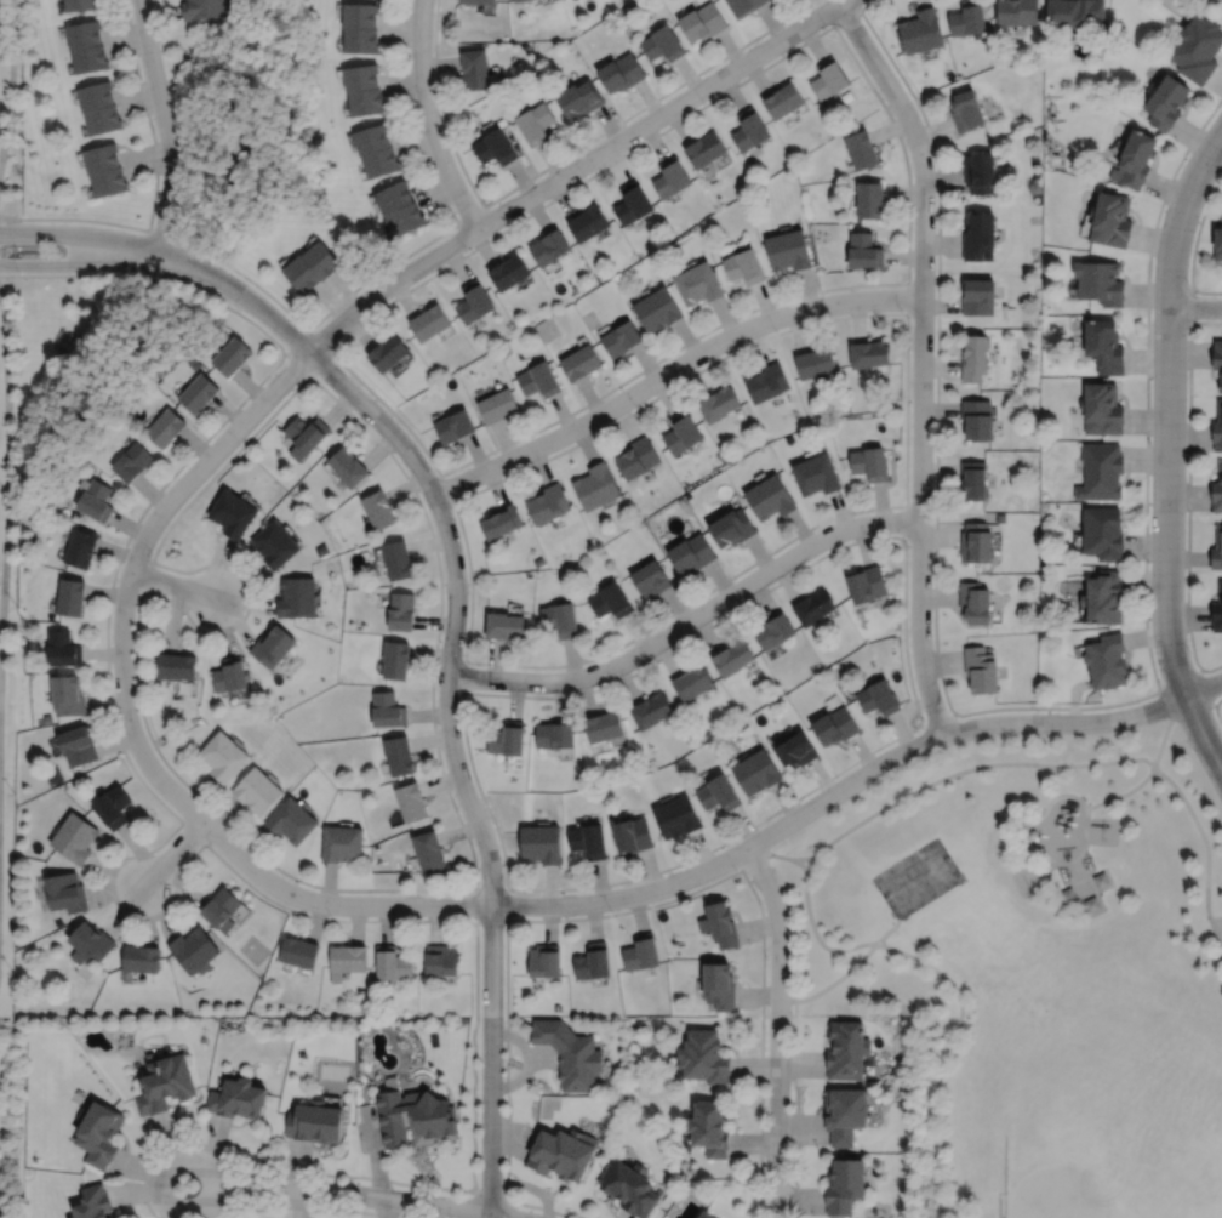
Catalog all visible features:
building: (519, 0)
street lamp: (410, 1)
building: (479, 1)
road: (1215, 2)
building: (82, 5)
building: (743, 6)
building: (202, 8)
building: (1017, 12)
building: (1075, 13)
building: (360, 16)
road: (845, 16)
building: (969, 19)
building: (702, 23)
street lamp: (824, 27)
building: (921, 32)
road: (161, 33)
building: (85, 36)
building: (361, 41)
building: (661, 46)
building: (1197, 50)
building: (92, 61)
building: (478, 70)
building: (622, 74)
building: (361, 79)
road: (11, 80)
building: (829, 80)
building: (97, 97)
building: (582, 97)
building: (783, 101)
street lamp: (703, 102)
street lamp: (884, 102)
building: (1169, 103)
street lamp: (1221, 103)
building: (366, 104)
building: (966, 109)
road: (428, 118)
street lamp: (441, 119)
building: (536, 119)
building: (105, 121)
road: (165, 126)
street lamp: (154, 127)
building: (749, 127)
building: (372, 136)
building: (496, 143)
building: (704, 146)
building: (862, 147)
building: (1137, 156)
building: (382, 158)
building: (103, 159)
road: (556, 160)
road: (571, 169)
building: (981, 170)
street lamp: (584, 176)
building: (670, 176)
building: (110, 183)
road: (154, 188)
road: (908, 188)
building: (394, 193)
building: (870, 198)
building: (634, 199)
building: (406, 215)
road: (470, 215)
building: (1113, 217)
building: (589, 220)
street lamp: (21, 222)
street lamp: (912, 222)
building: (980, 233)
road: (79, 234)
building: (1220, 241)
road: (1194, 243)
building: (550, 244)
street lamp: (467, 247)
building: (788, 247)
building: (864, 249)
building: (988, 255)
building: (321, 256)
road: (399, 258)
road: (78, 262)
building: (744, 263)
building: (510, 268)
street lamp: (130, 271)
building: (302, 271)
street lamp: (19, 272)
building: (1102, 280)
building: (698, 281)
street lamp: (1188, 284)
road: (238, 294)
building: (980, 295)
road: (908, 298)
building: (475, 300)
road: (1189, 302)
building: (658, 307)
road: (1195, 307)
street lamp: (240, 309)
street lamp: (901, 311)
building: (430, 320)
road: (308, 328)
street lamp: (776, 330)
building: (623, 336)
building: (67, 342)
street lamp: (335, 343)
building: (1107, 345)
building: (388, 349)
road: (285, 352)
road: (287, 352)
building: (869, 352)
building: (230, 353)
building: (1218, 355)
building: (975, 357)
road: (923, 359)
building: (582, 360)
building: (815, 360)
road: (670, 370)
building: (539, 377)
building: (767, 381)
building: (198, 391)
building: (718, 402)
building: (499, 404)
street lamp: (910, 404)
street lamp: (635, 405)
building: (1104, 408)
building: (978, 417)
building: (455, 425)
building: (165, 426)
building: (1218, 428)
building: (305, 431)
building: (683, 431)
street lamp: (1150, 439)
street lamp: (240, 444)
road: (1166, 451)
building: (639, 456)
building: (131, 460)
building: (870, 462)
building: (349, 465)
road: (7, 468)
building: (1102, 469)
street lamp: (508, 472)
building: (816, 473)
building: (975, 479)
building: (596, 484)
road: (446, 488)
road: (907, 488)
road: (1188, 491)
building: (1217, 493)
building: (770, 496)
building: (96, 499)
building: (549, 502)
building: (379, 508)
street lamp: (452, 510)
building: (232, 512)
street lamp: (853, 513)
building: (1001, 517)
building: (502, 520)
road: (907, 524)
building: (731, 527)
building: (1104, 531)
building: (977, 541)
building: (275, 542)
street lamp: (908, 545)
building: (84, 548)
building: (1217, 550)
street lamp: (152, 552)
building: (692, 553)
building: (398, 558)
street lamp: (1149, 563)
street lamp: (227, 567)
road: (144, 575)
building: (652, 577)
street lamp: (732, 581)
road: (171, 584)
building: (867, 584)
building: (297, 596)
building: (1106, 596)
building: (73, 597)
building: (611, 599)
building: (976, 602)
building: (813, 607)
building: (402, 610)
building: (1217, 615)
building: (561, 617)
road: (689, 619)
building: (506, 624)
building: (773, 631)
building: (273, 645)
building: (64, 649)
street lamp: (1189, 651)
street lamp: (462, 653)
building: (732, 658)
building: (396, 659)
street lamp: (650, 659)
building: (1108, 661)
building: (176, 666)
building: (982, 670)
building: (230, 673)
road: (462, 676)
road: (1182, 682)
building: (693, 683)
street lamp: (532, 693)
building: (69, 695)
building: (879, 698)
road: (1205, 705)
road: (1214, 705)
road: (992, 708)
building: (388, 710)
building: (652, 710)
road: (1216, 710)
street lamp: (1039, 711)
street lamp: (116, 715)
road: (938, 721)
street lamp: (924, 722)
road: (130, 723)
road: (919, 723)
building: (835, 725)
building: (605, 727)
building: (555, 735)
building: (508, 739)
building: (79, 747)
building: (796, 751)
building: (399, 755)
building: (223, 756)
road: (455, 761)
road: (1153, 767)
building: (756, 772)
street lamp: (836, 778)
road: (851, 781)
building: (257, 791)
building: (719, 793)
building: (411, 801)
road: (1050, 801)
building: (114, 807)
street lamp: (458, 808)
building: (679, 816)
building: (292, 820)
road: (849, 827)
road: (193, 832)
building: (634, 835)
building: (76, 838)
building: (590, 839)
building: (342, 843)
building: (542, 843)
street lamp: (215, 848)
building: (429, 850)
road: (173, 853)
road: (776, 854)
road: (799, 863)
street lamp: (735, 869)
road: (1079, 876)
park: (915, 877)
building: (1101, 877)
road: (473, 883)
road: (474, 886)
building: (1068, 892)
road: (1087, 893)
building: (68, 894)
street lamp: (171, 894)
building: (1092, 901)
building: (223, 909)
road: (628, 909)
street lamp: (611, 910)
road: (1095, 910)
road: (166, 911)
street lamp: (330, 916)
street lamp: (470, 917)
road: (476, 918)
road: (474, 920)
building: (58, 922)
building: (719, 922)
parking lot: (1217, 922)
road: (1217, 927)
building: (56, 934)
building: (91, 944)
building: (194, 949)
building: (640, 950)
building: (299, 951)
street lamp: (767, 957)
building: (347, 958)
building: (441, 958)
building: (546, 960)
building: (142, 961)
building: (592, 961)
building: (393, 962)
park: (1032, 966)
road: (851, 968)
building: (719, 983)
building: (558, 1007)
road: (778, 1029)
building: (846, 1048)
building: (571, 1052)
building: (702, 1054)
building: (135, 1064)
building: (164, 1082)
building: (238, 1097)
street lamp: (478, 1099)
road: (794, 1109)
building: (845, 1111)
building: (417, 1116)
building: (315, 1120)
building: (708, 1126)
building: (99, 1133)
street lamp: (195, 1145)
building: (565, 1152)
street lamp: (764, 1174)
park: (1069, 1174)
street lamp: (352, 1182)
building: (844, 1183)
building: (630, 1186)
road: (257, 1188)
road: (473, 1189)
road: (485, 1195)
road: (508, 1201)
building: (92, 1202)
road: (1000, 1206)
road: (316, 1207)
building: (704, 1214)
road: (499, 1216)
building: (109, 1217)

